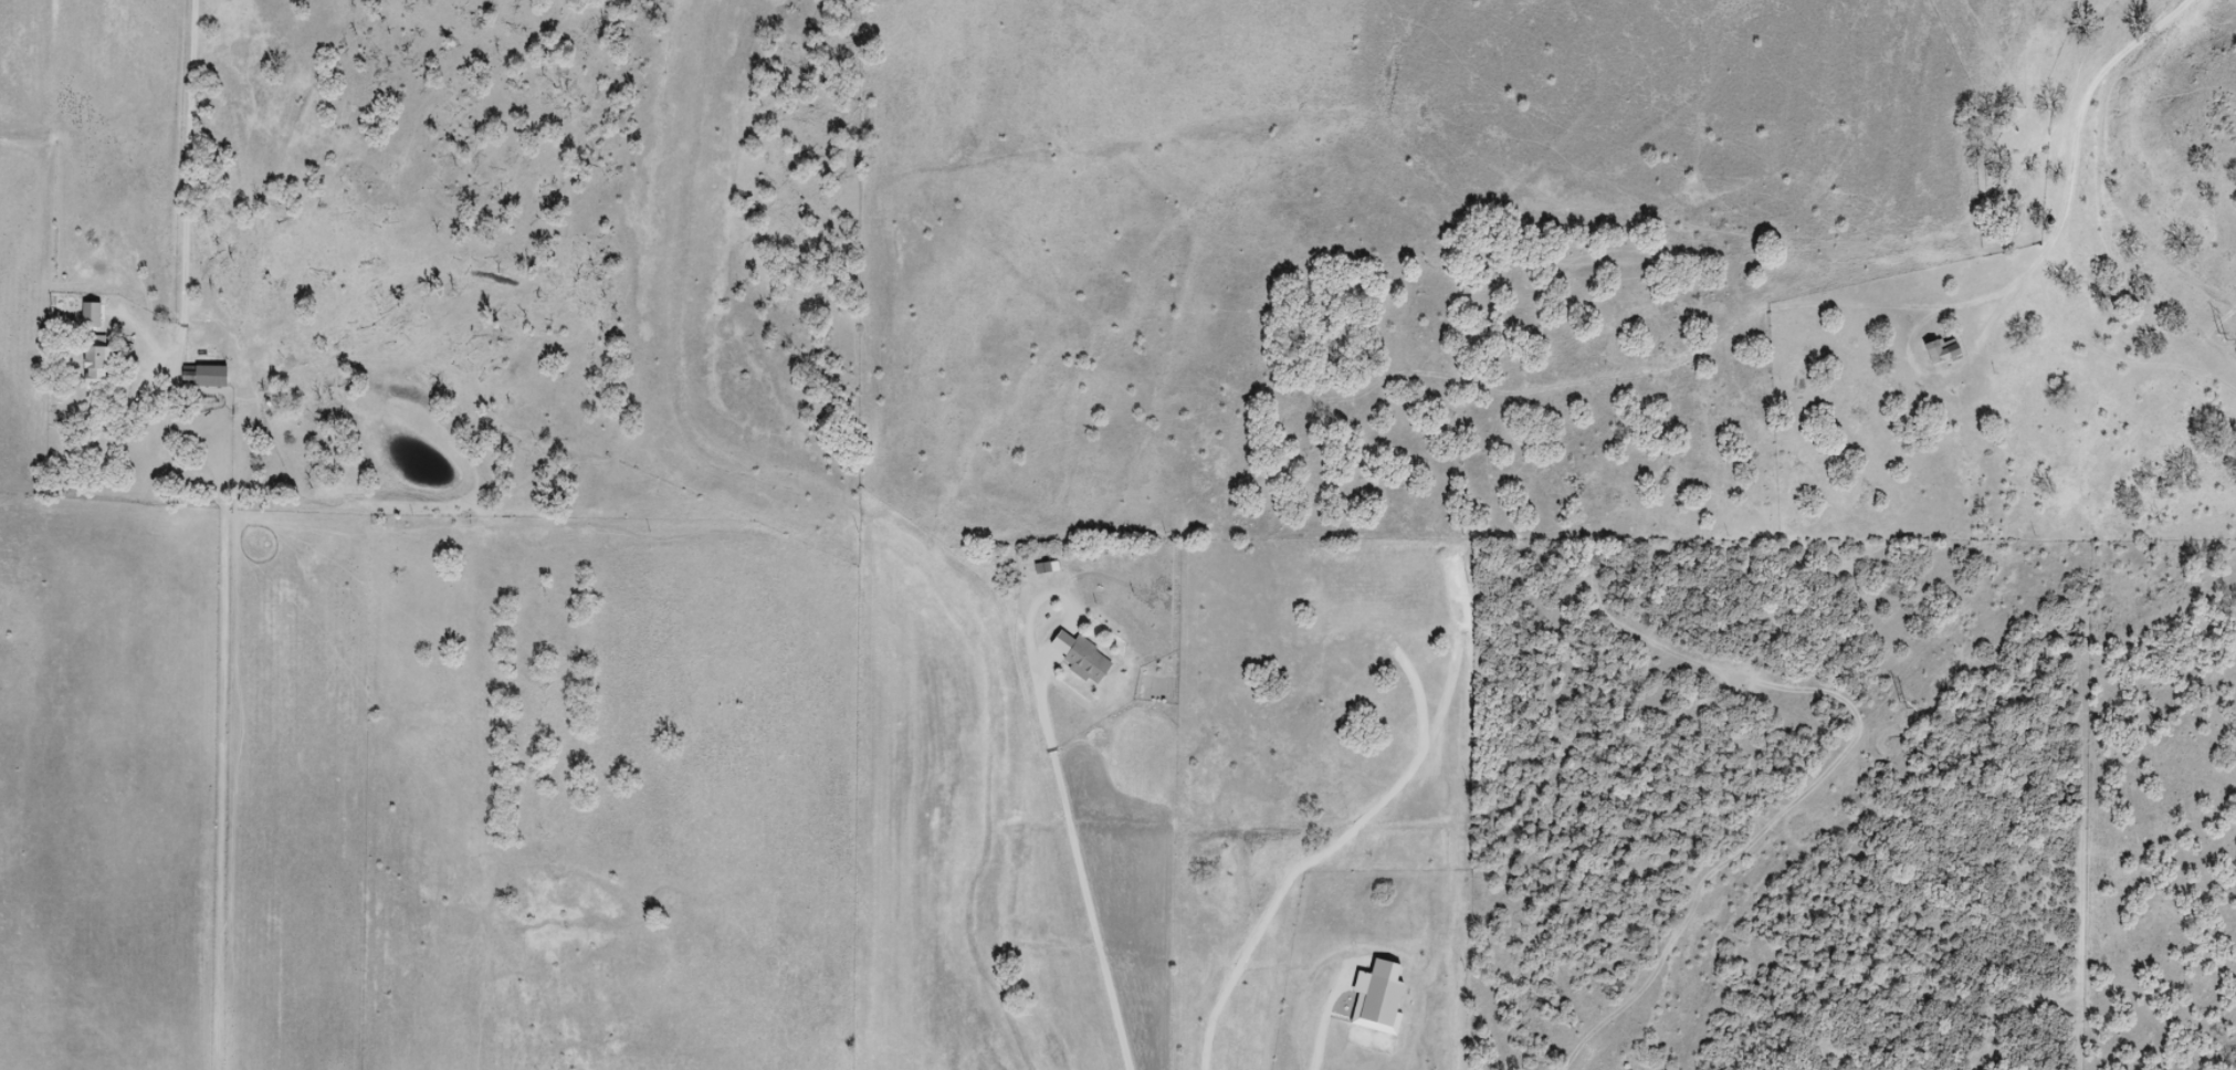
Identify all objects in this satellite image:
road: (2081, 109)
road: (199, 183)
power tower: (2218, 339)
building: (1941, 350)
building: (1078, 658)
power tower: (1901, 706)

